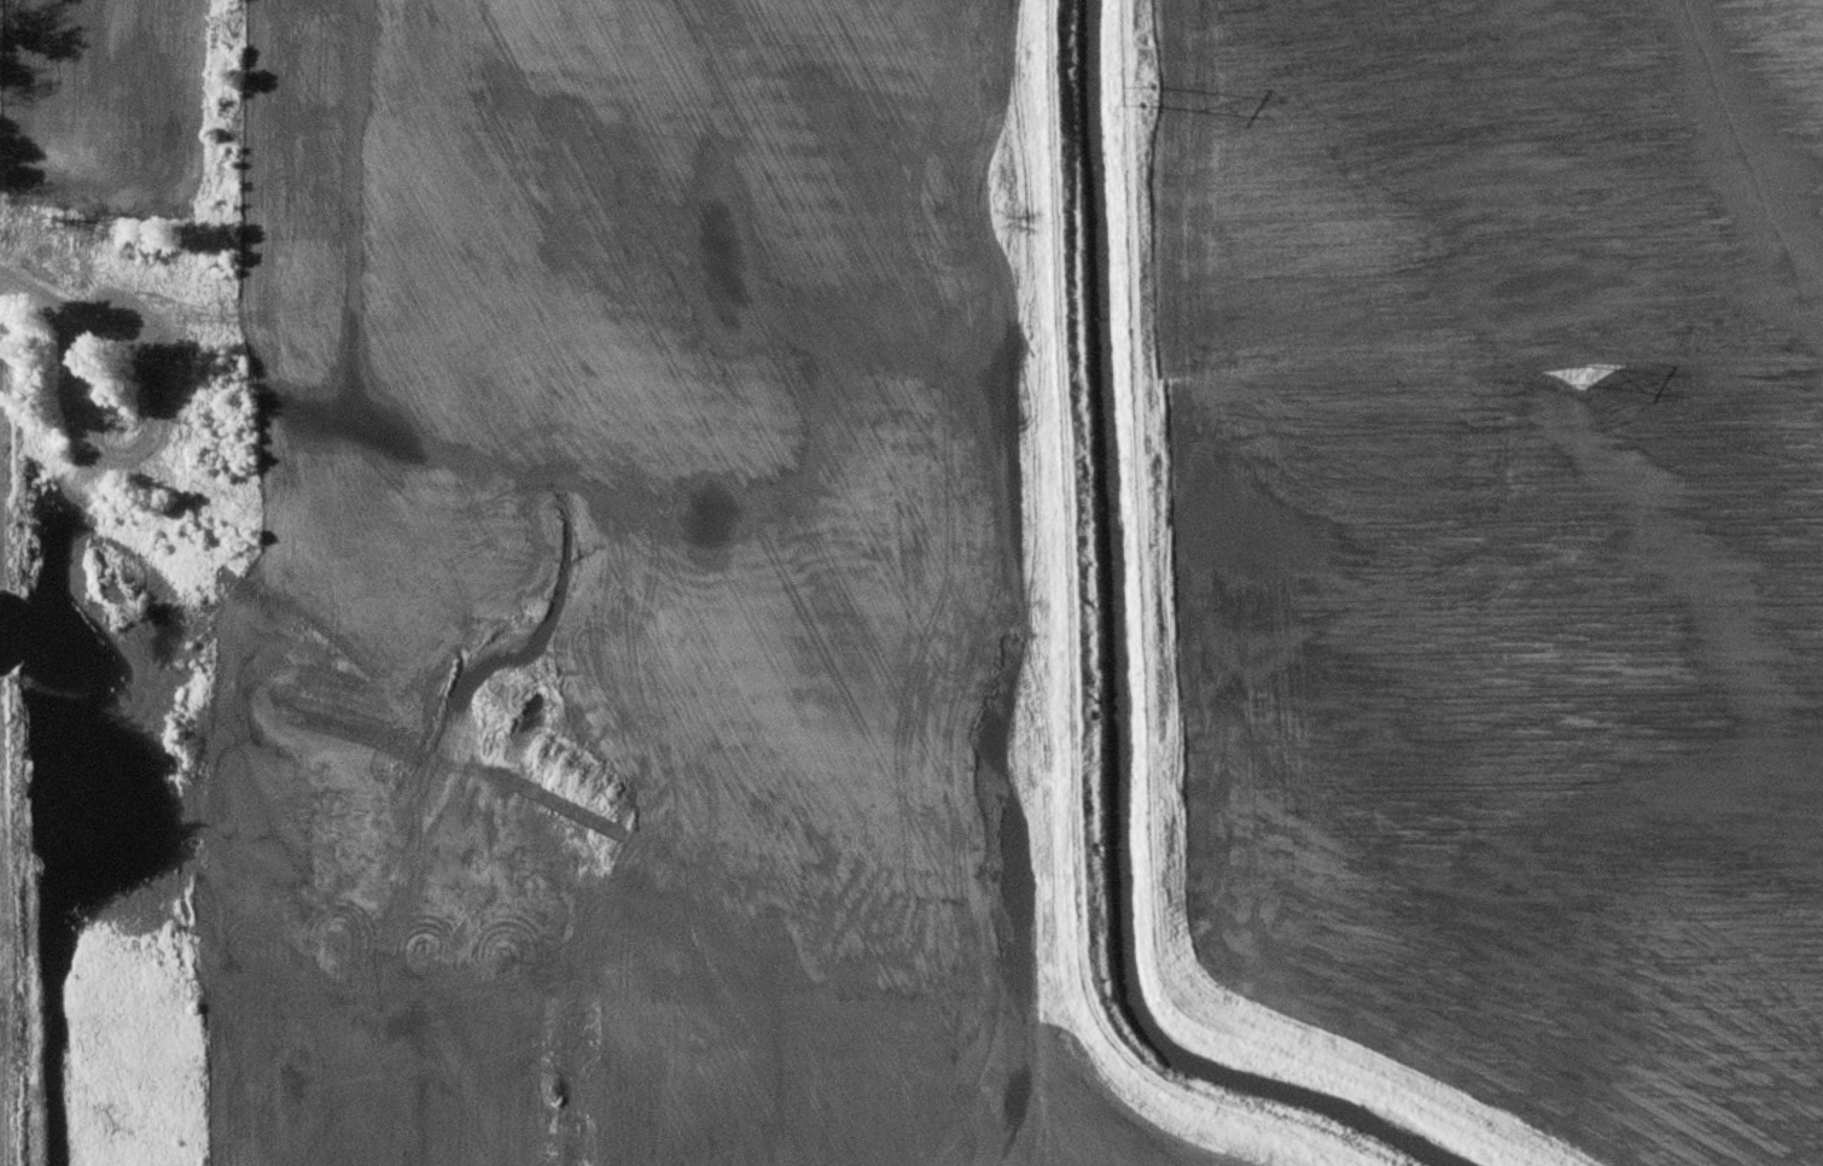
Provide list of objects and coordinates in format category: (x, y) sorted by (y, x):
power tower: (1157, 95)
power tower: (1582, 372)
road: (1062, 661)
road: (0, 1051)

